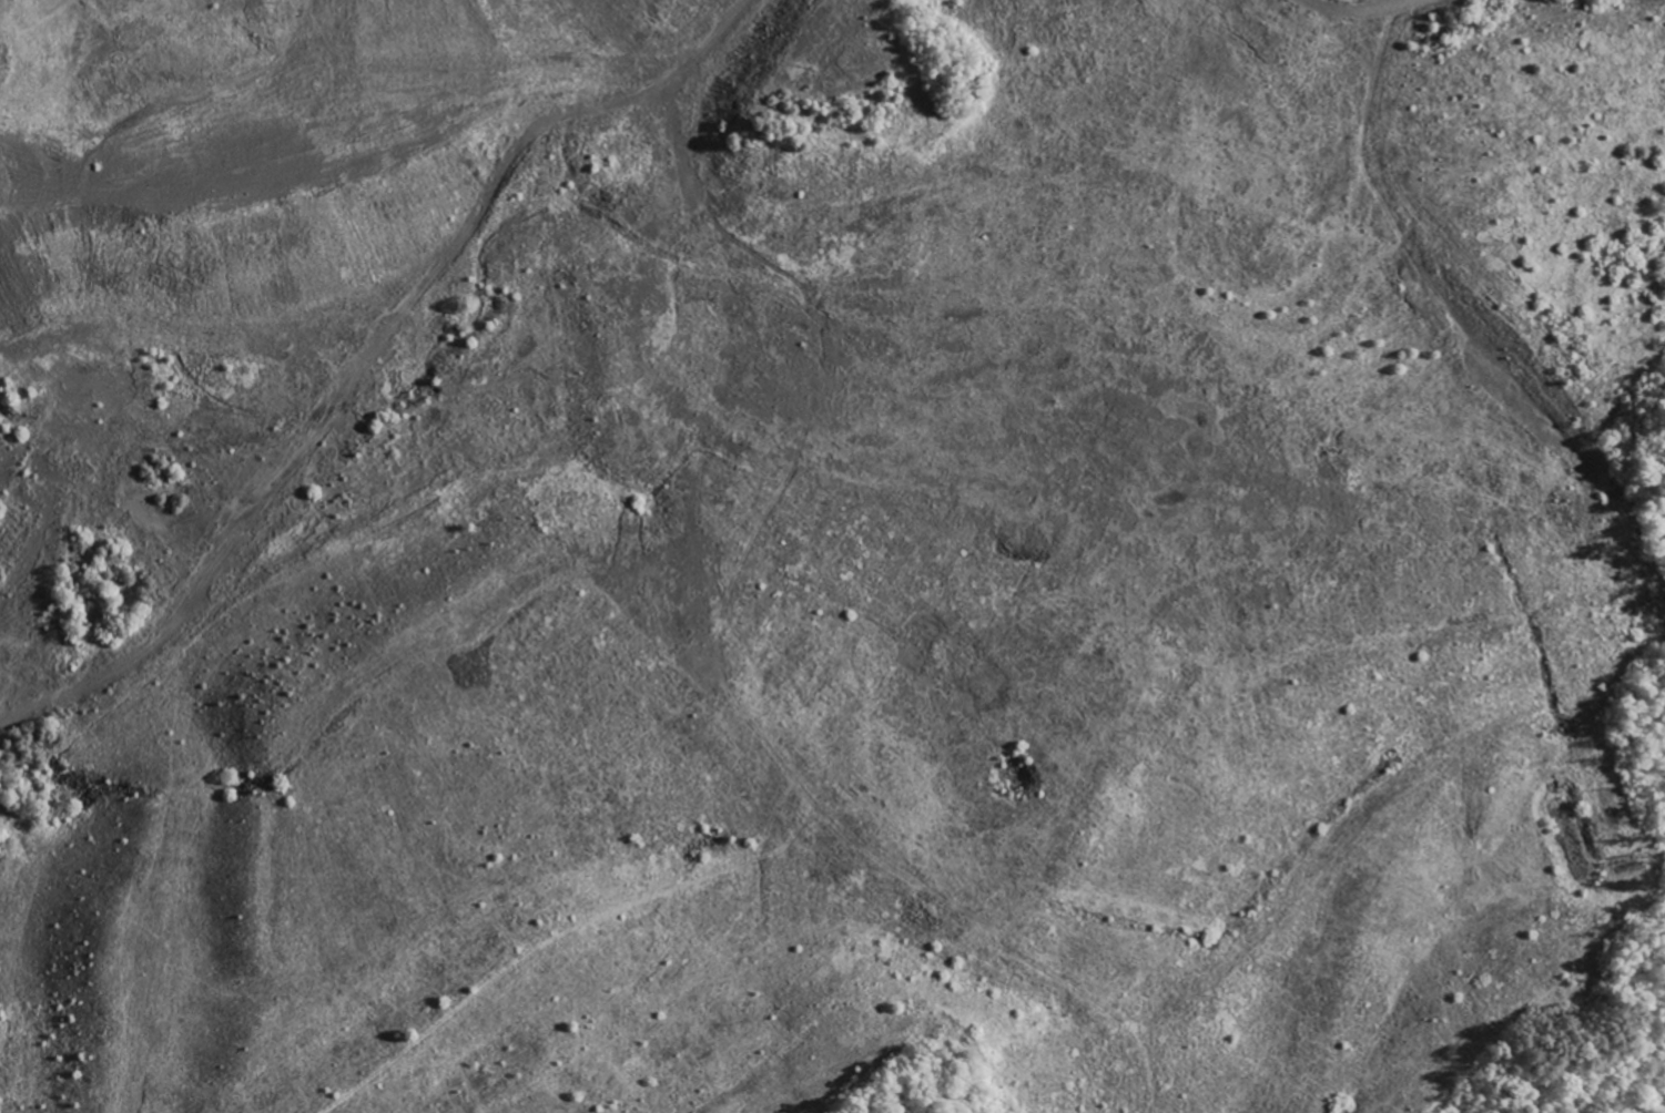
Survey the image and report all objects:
road: (1339, 16)

